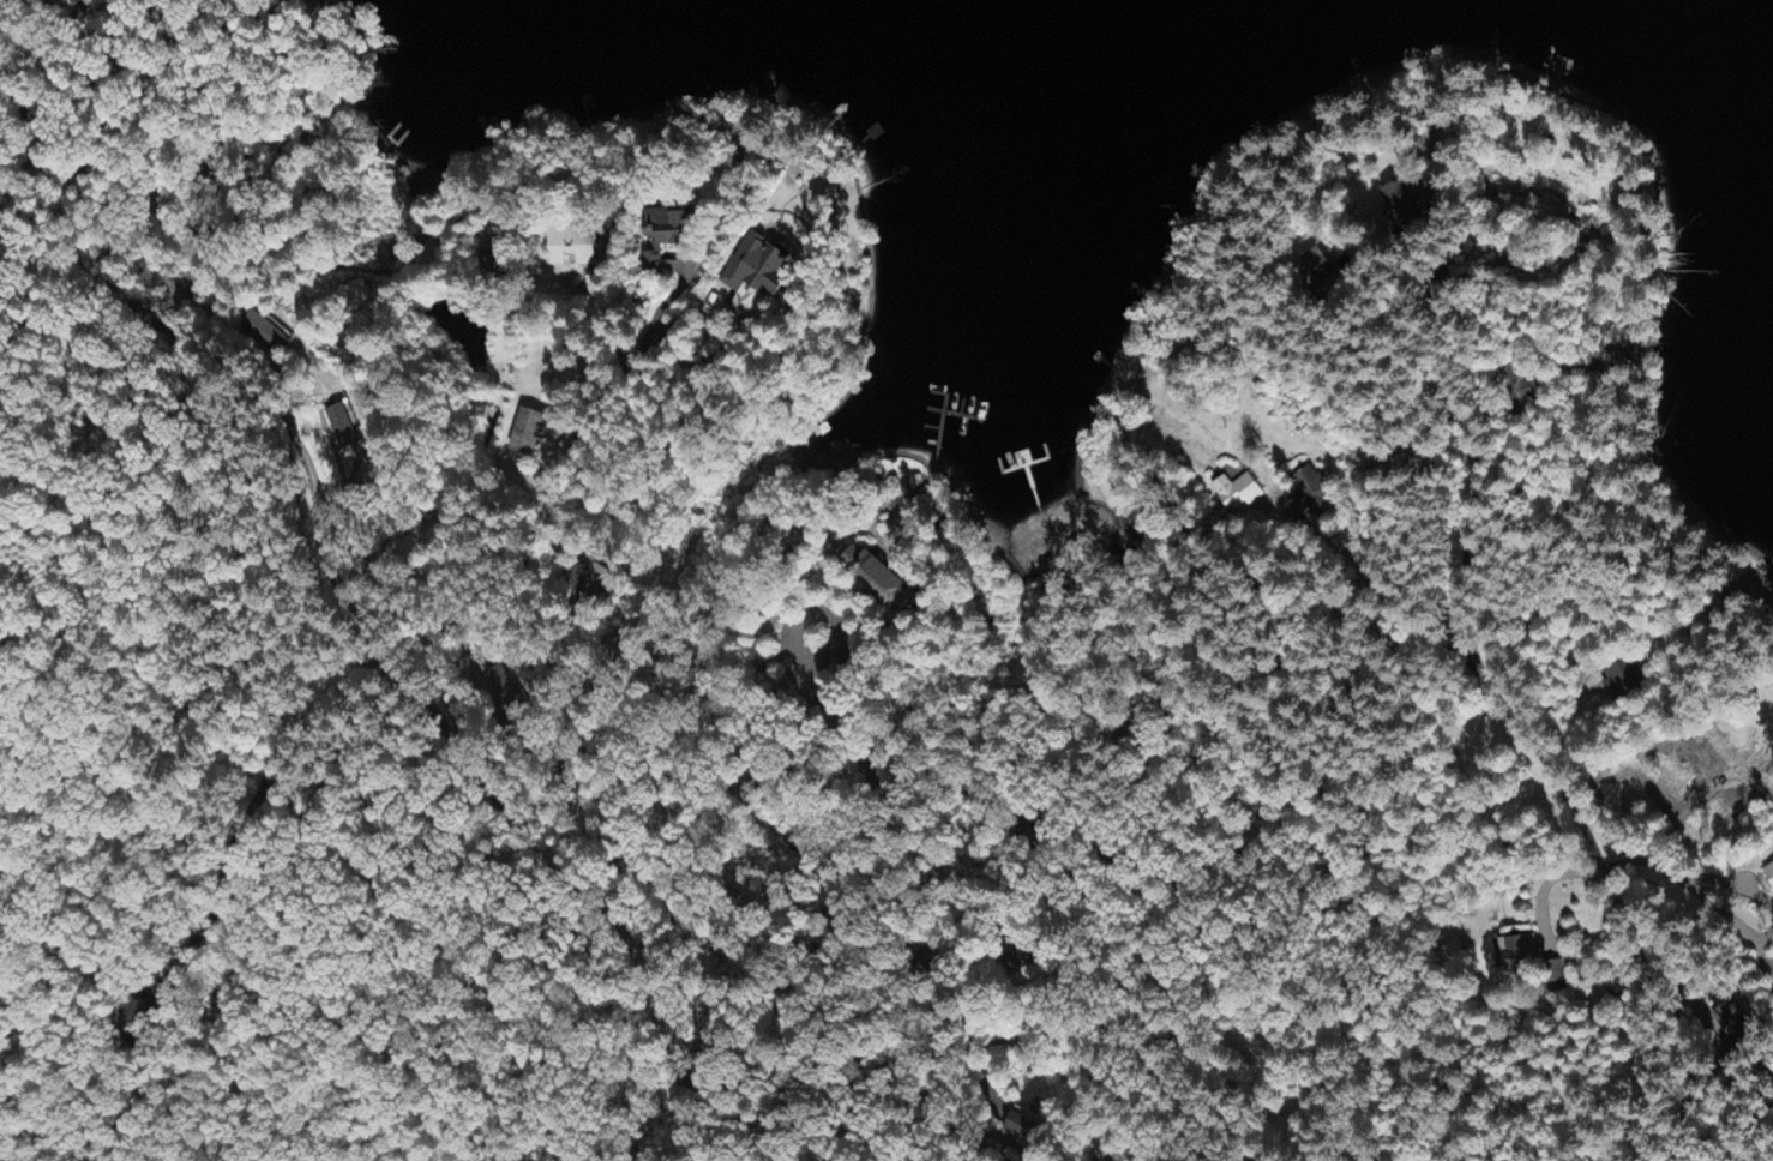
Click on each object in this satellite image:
road: (53, 161)
building: (1408, 205)
building: (1546, 213)
building: (666, 234)
building: (571, 247)
building: (756, 270)
building: (1314, 270)
building: (266, 335)
road: (1394, 349)
building: (1516, 387)
building: (339, 427)
building: (525, 434)
road: (1441, 458)
building: (1312, 489)
building: (1237, 493)
road: (1352, 541)
road: (601, 566)
building: (877, 580)
road: (1484, 681)
building: (1621, 681)
building: (503, 693)
road: (485, 787)
road: (1298, 787)
road: (1561, 789)
road: (1673, 823)
road: (781, 841)
building: (1768, 876)
road: (1732, 884)
road: (1694, 888)
road: (411, 906)
road: (1619, 915)
road: (1546, 931)
road: (1766, 943)
building: (1519, 954)
road: (1768, 963)
building: (1552, 974)
road: (1767, 981)
road: (1039, 1007)
road: (1703, 1016)
building: (1731, 1022)
road: (1009, 1039)
road: (1629, 1052)
road: (1310, 1065)
road: (982, 1079)
road: (1093, 1096)
building: (1022, 1125)
road: (1018, 1145)

